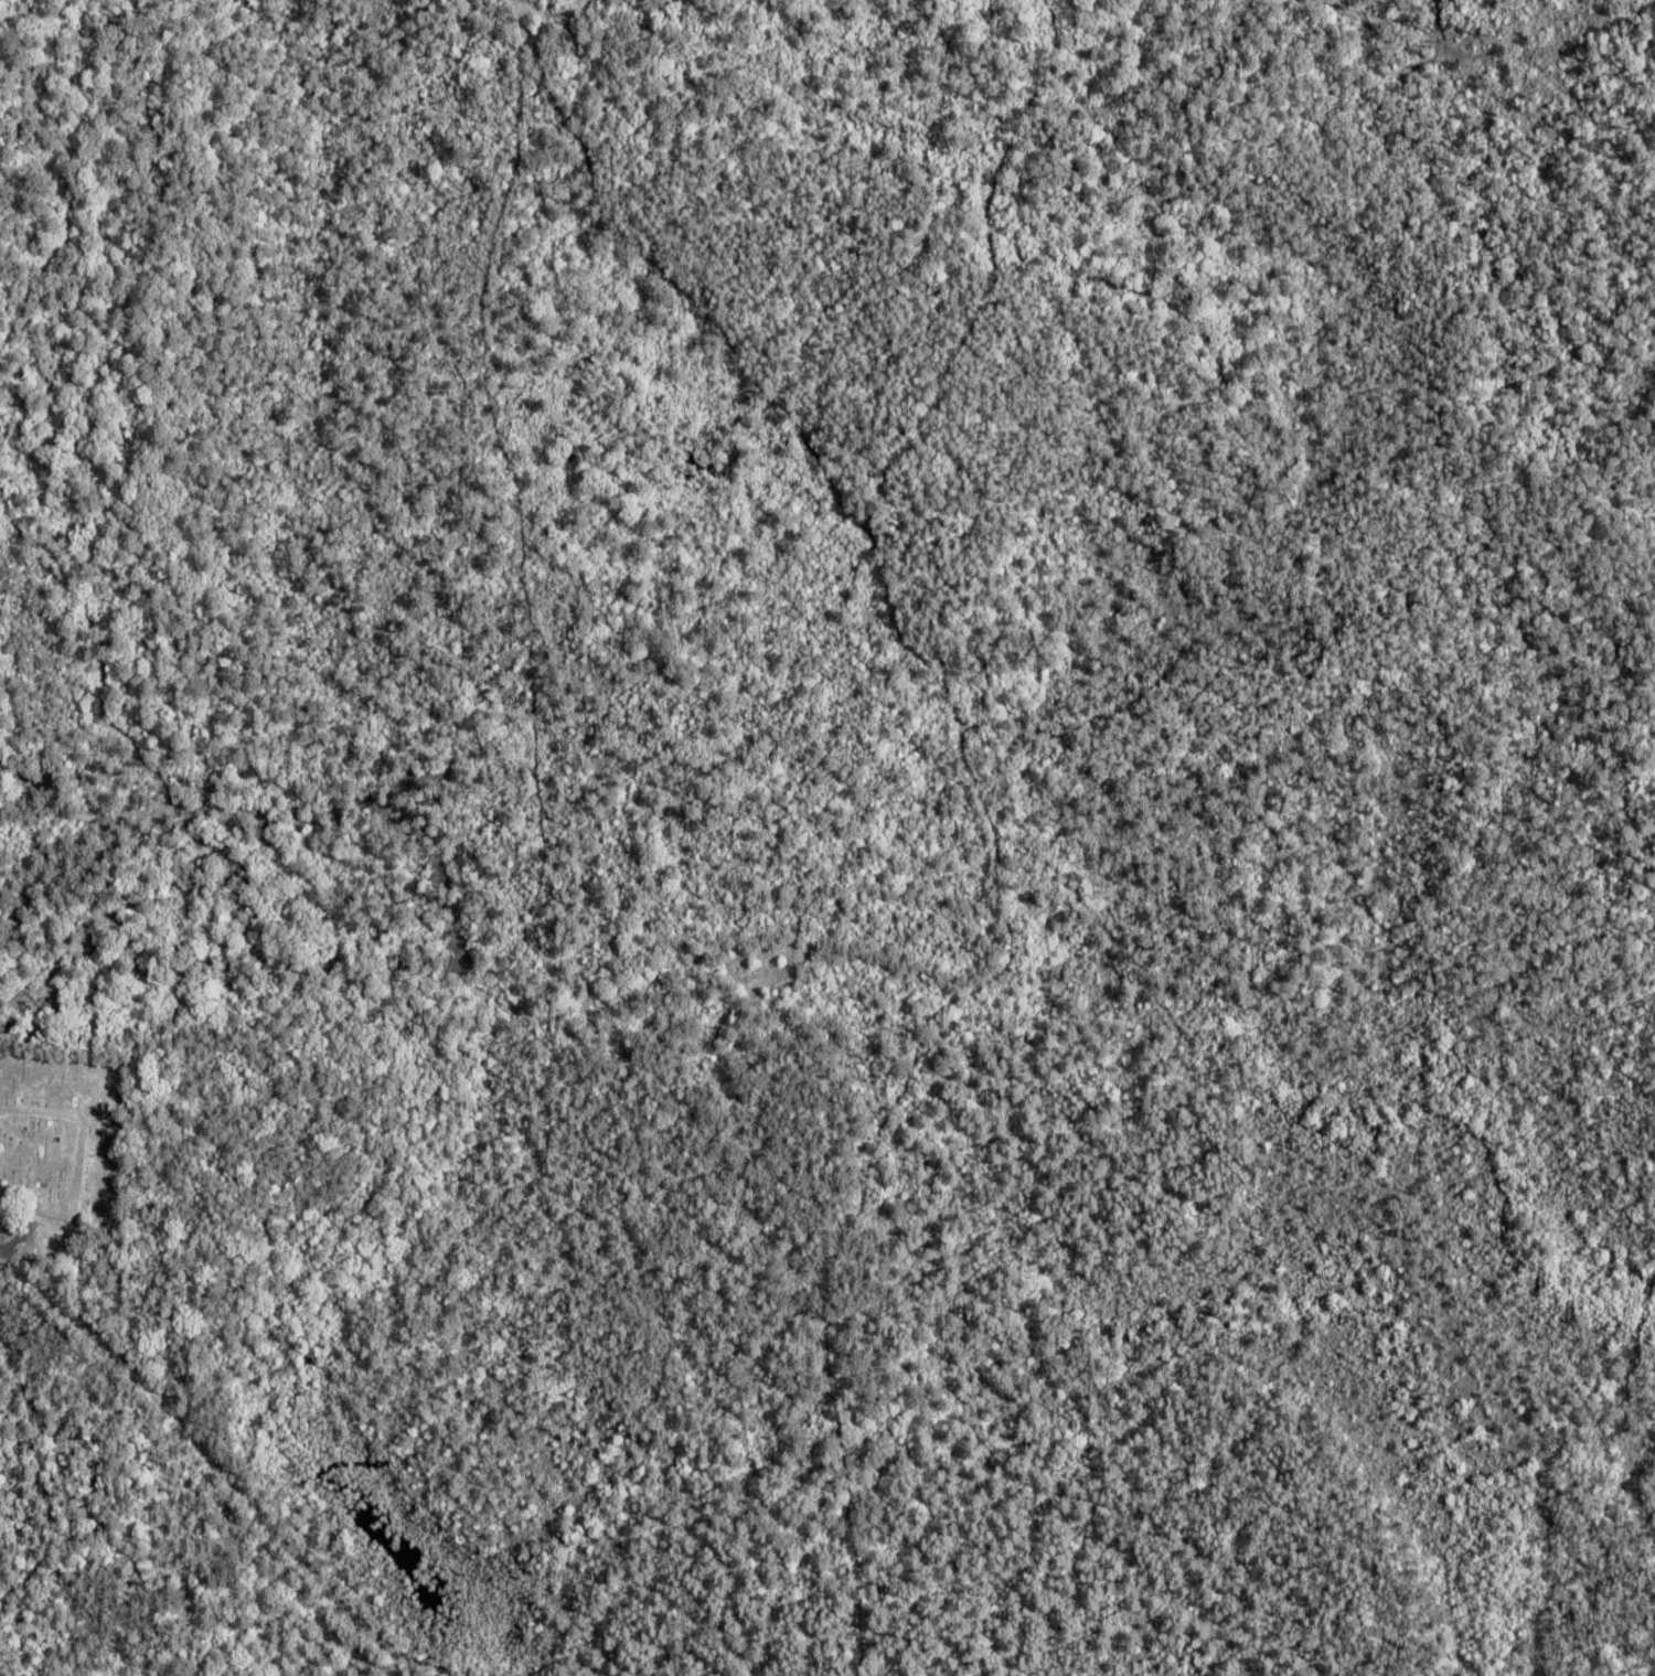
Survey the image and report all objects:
building: (128, 1167)
road: (6, 1255)
road: (235, 1483)

